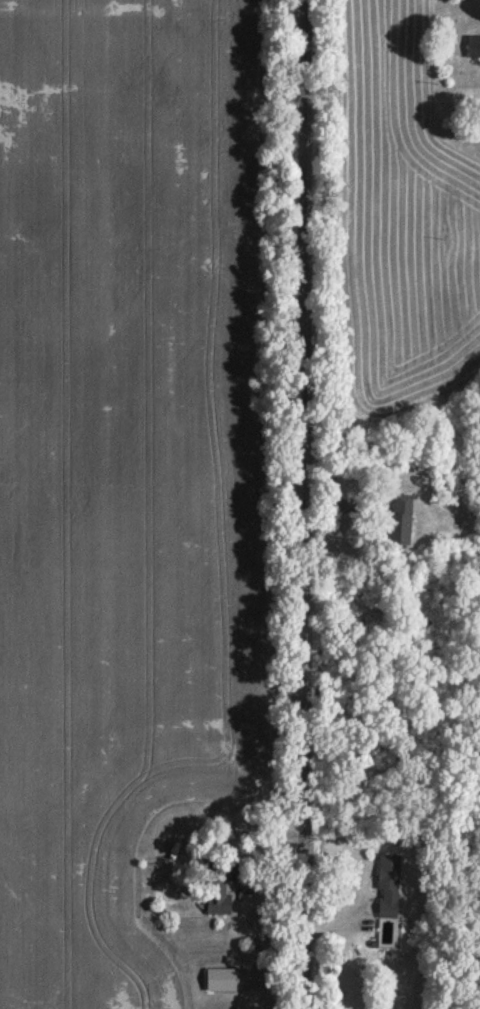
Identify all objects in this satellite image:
building: (473, 44)
road: (307, 504)
building: (401, 517)
building: (388, 884)
building: (220, 893)
building: (221, 978)

